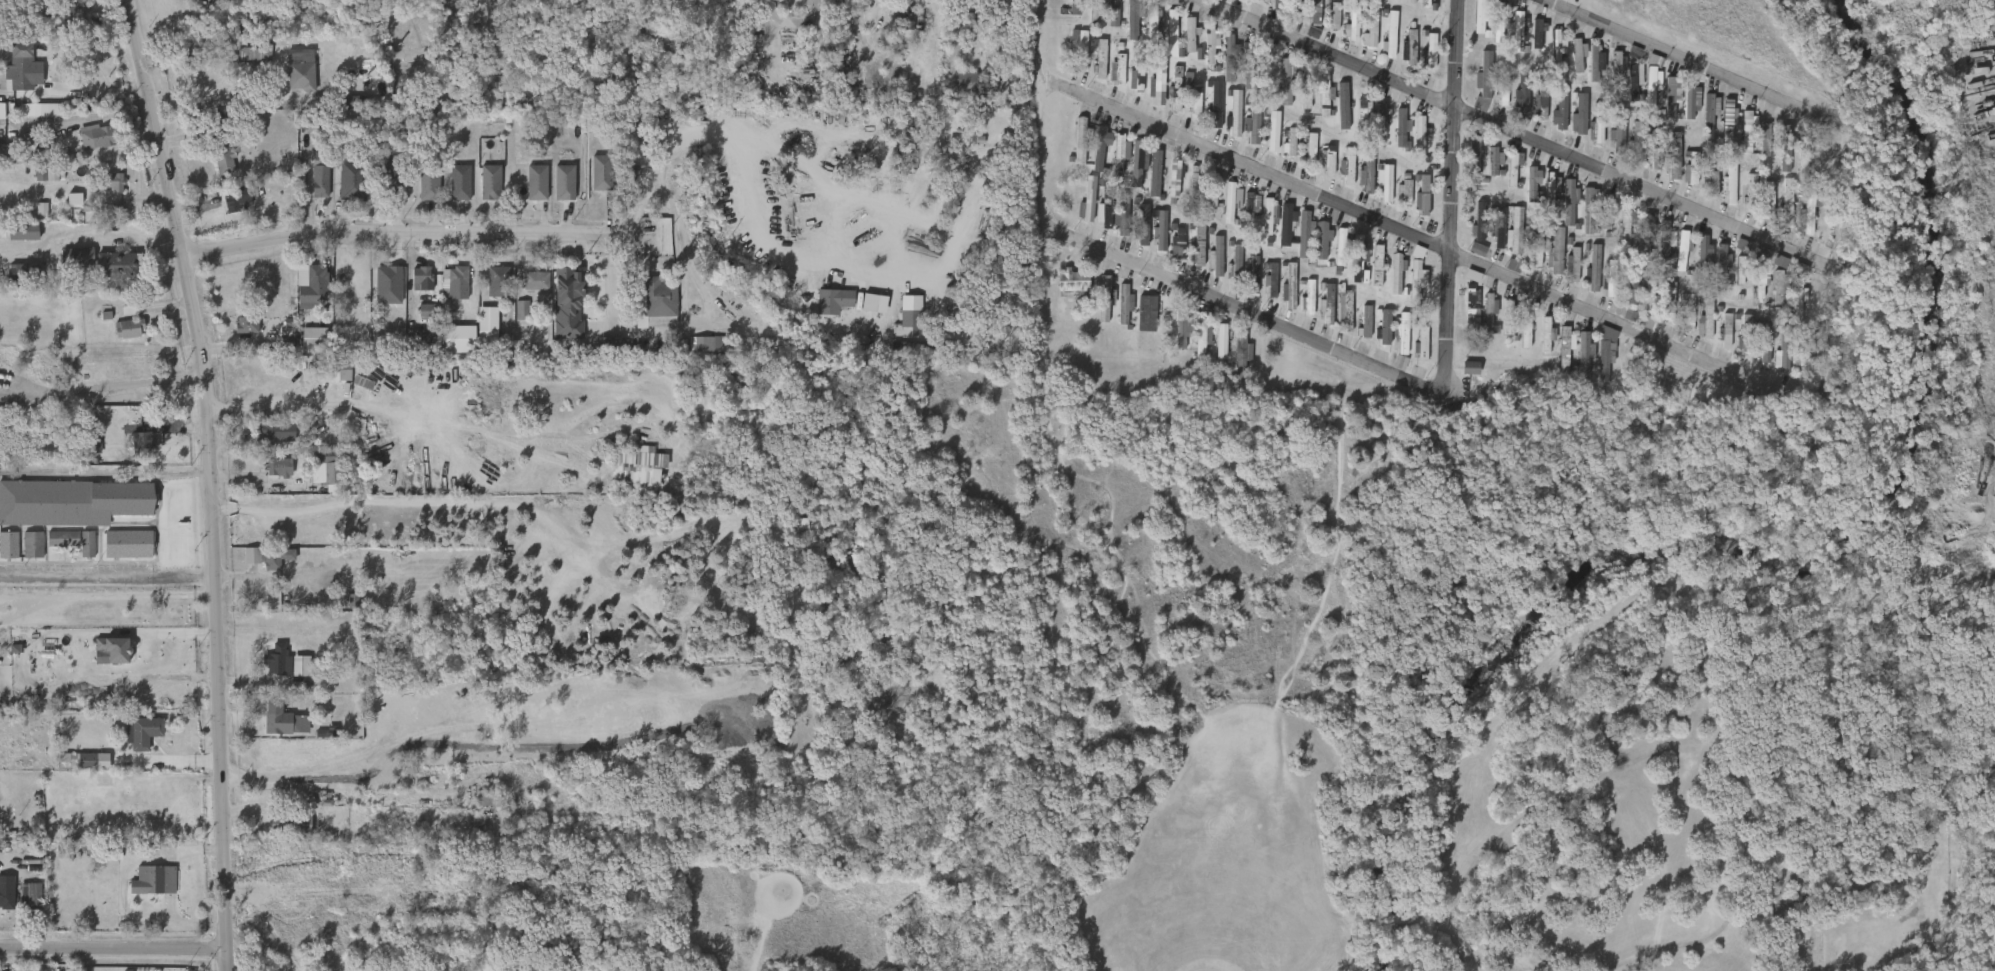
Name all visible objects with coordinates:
building: (795, 0)
building: (1276, 3)
building: (1387, 3)
building: (1398, 3)
building: (1249, 4)
building: (1296, 5)
building: (1074, 6)
building: (1265, 6)
building: (1418, 8)
building: (1114, 11)
building: (1313, 11)
building: (62, 14)
building: (1067, 15)
building: (1478, 15)
building: (1105, 18)
building: (1130, 19)
building: (1152, 21)
building: (1497, 21)
building: (54, 23)
building: (1307, 26)
building: (1370, 26)
building: (1124, 28)
building: (1327, 28)
building: (1517, 29)
building: (1491, 31)
building: (1188, 33)
building: (1389, 34)
building: (1172, 36)
building: (1143, 37)
building: (1536, 37)
building: (1343, 38)
building: (1363, 38)
building: (1511, 40)
building: (752, 42)
building: (1163, 42)
building: (1305, 42)
building: (1209, 43)
building: (1529, 43)
building: (1556, 43)
building: (1182, 44)
building: (1409, 44)
building: (1382, 46)
building: (1079, 48)
building: (1432, 49)
building: (1576, 53)
building: (1202, 55)
road: (71, 56)
building: (1221, 56)
building: (1228, 56)
building: (1401, 56)
building: (1548, 56)
building: (1099, 58)
building: (1421, 62)
building: (1595, 62)
building: (1191, 63)
building: (1249, 64)
building: (26, 65)
building: (246, 65)
building: (1267, 66)
building: (1568, 66)
building: (1093, 68)
building: (1588, 68)
building: (1609, 71)
building: (305, 72)
building: (1135, 75)
building: (1482, 75)
building: (1110, 80)
building: (1157, 80)
building: (1284, 80)
building: (1634, 82)
building: (1651, 85)
building: (1305, 86)
building: (1626, 89)
building: (1128, 90)
building: (1278, 91)
building: (1150, 92)
building: (1475, 92)
building: (966, 93)
building: (1520, 94)
building: (1671, 95)
building: (1324, 96)
building: (1167, 99)
building: (1540, 100)
building: (1343, 101)
building: (1297, 102)
building: (1214, 103)
building: (1317, 106)
building: (1514, 107)
building: (1559, 107)
building: (1188, 109)
building: (1683, 111)
building: (1233, 113)
building: (1580, 113)
road: (1038, 114)
building: (1208, 114)
building: (1335, 115)
building: (1531, 115)
building: (1707, 116)
building: (1728, 118)
building: (33, 119)
building: (1700, 119)
building: (1356, 121)
building: (1227, 122)
building: (1597, 124)
building: (1373, 125)
building: (1552, 125)
building: (1571, 127)
building: (1401, 128)
building: (1720, 129)
building: (1617, 130)
building: (1748, 130)
building: (1392, 133)
road: (1522, 133)
building: (1244, 134)
building: (1268, 135)
building: (1766, 135)
building: (99, 136)
building: (1420, 137)
building: (1082, 138)
building: (1634, 139)
building: (1588, 141)
building: (1739, 141)
building: (1609, 143)
building: (220, 144)
building: (91, 145)
building: (1100, 145)
building: (1783, 147)
building: (1626, 148)
building: (1655, 148)
building: (1308, 149)
building: (1411, 149)
building: (1756, 149)
building: (3, 150)
building: (1072, 150)
building: (1281, 153)
building: (1121, 154)
building: (1092, 155)
building: (1674, 155)
building: (1804, 155)
building: (1326, 159)
building: (1493, 160)
building: (1776, 160)
building: (1474, 161)
building: (1110, 163)
building: (1136, 163)
building: (1666, 165)
building: (1346, 166)
building: (1466, 169)
building: (1319, 170)
building: (1366, 170)
building: (1486, 170)
building: (1711, 170)
building: (601, 171)
building: (392, 172)
building: (1128, 173)
building: (1155, 173)
building: (217, 174)
building: (1339, 176)
building: (1175, 177)
building: (1505, 177)
building: (321, 178)
building: (430, 181)
building: (460, 181)
building: (490, 181)
building: (537, 181)
building: (565, 181)
building: (1732, 181)
building: (593, 182)
building: (39, 183)
building: (1147, 183)
building: (1193, 183)
building: (1385, 183)
building: (1533, 183)
building: (1682, 183)
building: (1185, 185)
building: (1551, 187)
building: (1166, 188)
building: (352, 189)
building: (1212, 189)
building: (1751, 190)
building: (313, 191)
building: (1358, 191)
building: (1721, 191)
building: (107, 192)
building: (453, 192)
building: (483, 192)
building: (529, 192)
building: (557, 192)
building: (1524, 193)
building: (1705, 193)
building: (422, 195)
building: (1421, 195)
building: (1768, 196)
building: (236, 198)
building: (1088, 198)
building: (1376, 198)
building: (1541, 198)
building: (1230, 200)
building: (1742, 200)
building: (1397, 201)
building: (1568, 201)
building: (1787, 201)
building: (1415, 206)
building: (1760, 206)
building: (1103, 207)
building: (229, 209)
building: (1809, 209)
building: (1079, 210)
building: (1203, 210)
building: (1589, 210)
building: (1779, 210)
building: (1223, 211)
building: (1607, 211)
building: (1560, 212)
building: (1120, 214)
building: (1270, 214)
building: (1243, 215)
building: (35, 218)
building: (1097, 219)
building: (1600, 221)
building: (1478, 222)
building: (1659, 222)
building: (1801, 222)
building: (1625, 224)
building: (1141, 225)
building: (1288, 225)
building: (1259, 226)
building: (1497, 227)
building: (1647, 228)
building: (21, 230)
building: (1159, 230)
building: (1514, 230)
building: (1470, 233)
building: (1618, 233)
building: (1135, 234)
building: (1276, 234)
building: (1303, 234)
building: (1490, 236)
building: (1152, 238)
building: (1320, 239)
building: (1663, 241)
building: (1507, 242)
building: (16, 243)
building: (1296, 243)
road: (413, 245)
building: (1341, 246)
building: (1195, 248)
building: (1534, 249)
building: (1682, 249)
building: (1313, 250)
building: (1555, 251)
building: (1170, 252)
building: (1703, 253)
building: (1213, 254)
building: (1191, 255)
building: (1734, 255)
building: (79, 256)
building: (1357, 257)
building: (1469, 259)
building: (1673, 260)
building: (1547, 261)
building: (1696, 261)
building: (1753, 262)
building: (1574, 263)
building: (119, 264)
building: (1233, 265)
building: (1376, 265)
building: (1208, 266)
building: (1720, 266)
building: (70, 267)
building: (1526, 267)
building: (1593, 267)
building: (1349, 268)
building: (1714, 270)
building: (24, 271)
road: (787, 271)
building: (1772, 271)
building: (1252, 272)
building: (1398, 272)
building: (1226, 273)
building: (455, 274)
building: (1564, 274)
building: (1369, 275)
building: (1505, 275)
building: (421, 276)
building: (1585, 276)
building: (1792, 277)
building: (1609, 279)
building: (1760, 279)
building: (15, 280)
building: (536, 280)
building: (1071, 280)
building: (1731, 280)
building: (498, 281)
building: (1417, 282)
building: (311, 283)
building: (1388, 283)
building: (1291, 285)
building: (1631, 285)
building: (1778, 285)
building: (1244, 286)
building: (1409, 287)
building: (414, 288)
building: (1263, 289)
building: (529, 290)
building: (489, 291)
building: (1066, 291)
building: (1751, 293)
building: (1281, 296)
building: (1307, 297)
building: (1599, 297)
building: (1647, 297)
building: (1770, 297)
building: (1103, 298)
building: (1623, 299)
building: (836, 300)
building: (662, 301)
building: (1797, 301)
building: (1661, 302)
building: (1668, 302)
building: (1126, 303)
building: (454, 307)
building: (1300, 307)
building: (1639, 307)
building: (1095, 309)
building: (826, 310)
building: (1348, 310)
building: (1789, 310)
building: (1488, 311)
building: (1688, 311)
building: (1145, 312)
building: (866, 313)
building: (1117, 313)
building: (1320, 313)
building: (560, 314)
building: (1463, 314)
building: (441, 315)
building: (122, 319)
building: (514, 319)
building: (1337, 319)
building: (1706, 319)
building: (419, 320)
building: (916, 322)
building: (1482, 322)
building: (1680, 322)
building: (1138, 323)
building: (247, 324)
building: (901, 326)
building: (1181, 327)
building: (1524, 327)
building: (128, 328)
building: (1383, 329)
building: (1697, 329)
building: (1725, 331)
building: (480, 332)
building: (1401, 332)
building: (240, 335)
building: (1744, 335)
road: (678, 336)
building: (1200, 336)
building: (1376, 337)
building: (121, 339)
building: (281, 340)
building: (1518, 340)
building: (1174, 341)
building: (1717, 341)
building: (1764, 341)
building: (706, 343)
building: (1393, 343)
building: (1537, 344)
building: (315, 345)
building: (926, 347)
building: (1192, 347)
building: (1564, 349)
building: (446, 350)
building: (1756, 350)
building: (1213, 351)
building: (1781, 351)
building: (603, 352)
road: (1695, 353)
building: (703, 354)
building: (1413, 354)
building: (1583, 354)
building: (305, 355)
building: (900, 355)
building: (1805, 356)
building: (1240, 357)
building: (1604, 357)
building: (1575, 360)
building: (1556, 361)
building: (1773, 365)
building: (1232, 366)
building: (1597, 367)
building: (338, 371)
building: (1462, 377)
building: (336, 382)
road: (1427, 392)
road: (343, 399)
building: (276, 431)
building: (270, 441)
building: (145, 444)
building: (278, 466)
building: (327, 474)
building: (272, 476)
building: (629, 477)
road: (214, 481)
building: (317, 482)
building: (73, 502)
building: (62, 538)
building: (127, 543)
building: (32, 544)
building: (86, 544)
building: (8, 545)
building: (275, 557)
building: (262, 566)
road: (108, 575)
building: (106, 658)
building: (279, 659)
building: (271, 670)
park: (1394, 686)
building: (279, 719)
building: (277, 730)
building: (147, 731)
building: (136, 741)
road: (1677, 743)
building: (80, 769)
building: (29, 810)
building: (288, 822)
building: (283, 833)
building: (153, 881)
building: (7, 898)
building: (24, 902)
park: (1208, 916)
road: (1398, 920)
road: (112, 948)

